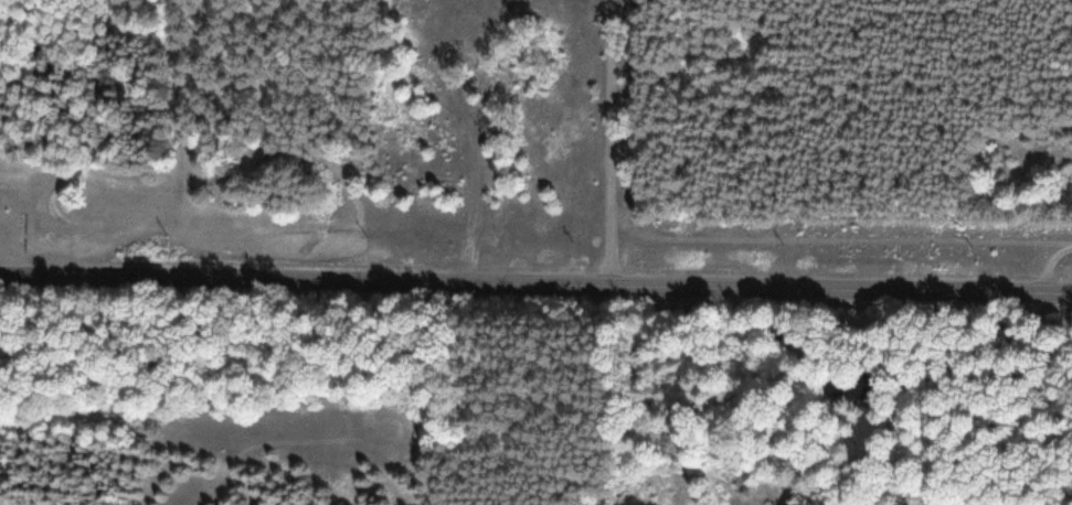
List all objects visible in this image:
building: (417, 7)
road: (630, 144)
road: (1058, 275)
road: (535, 287)
building: (848, 388)

